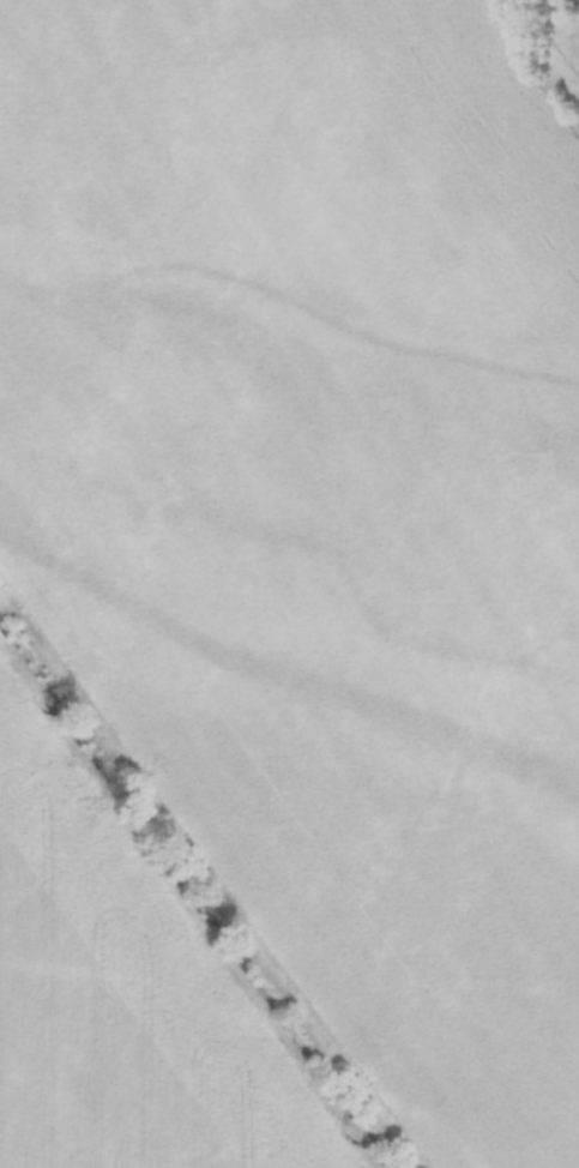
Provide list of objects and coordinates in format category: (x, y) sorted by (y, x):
river: (195, 897)

